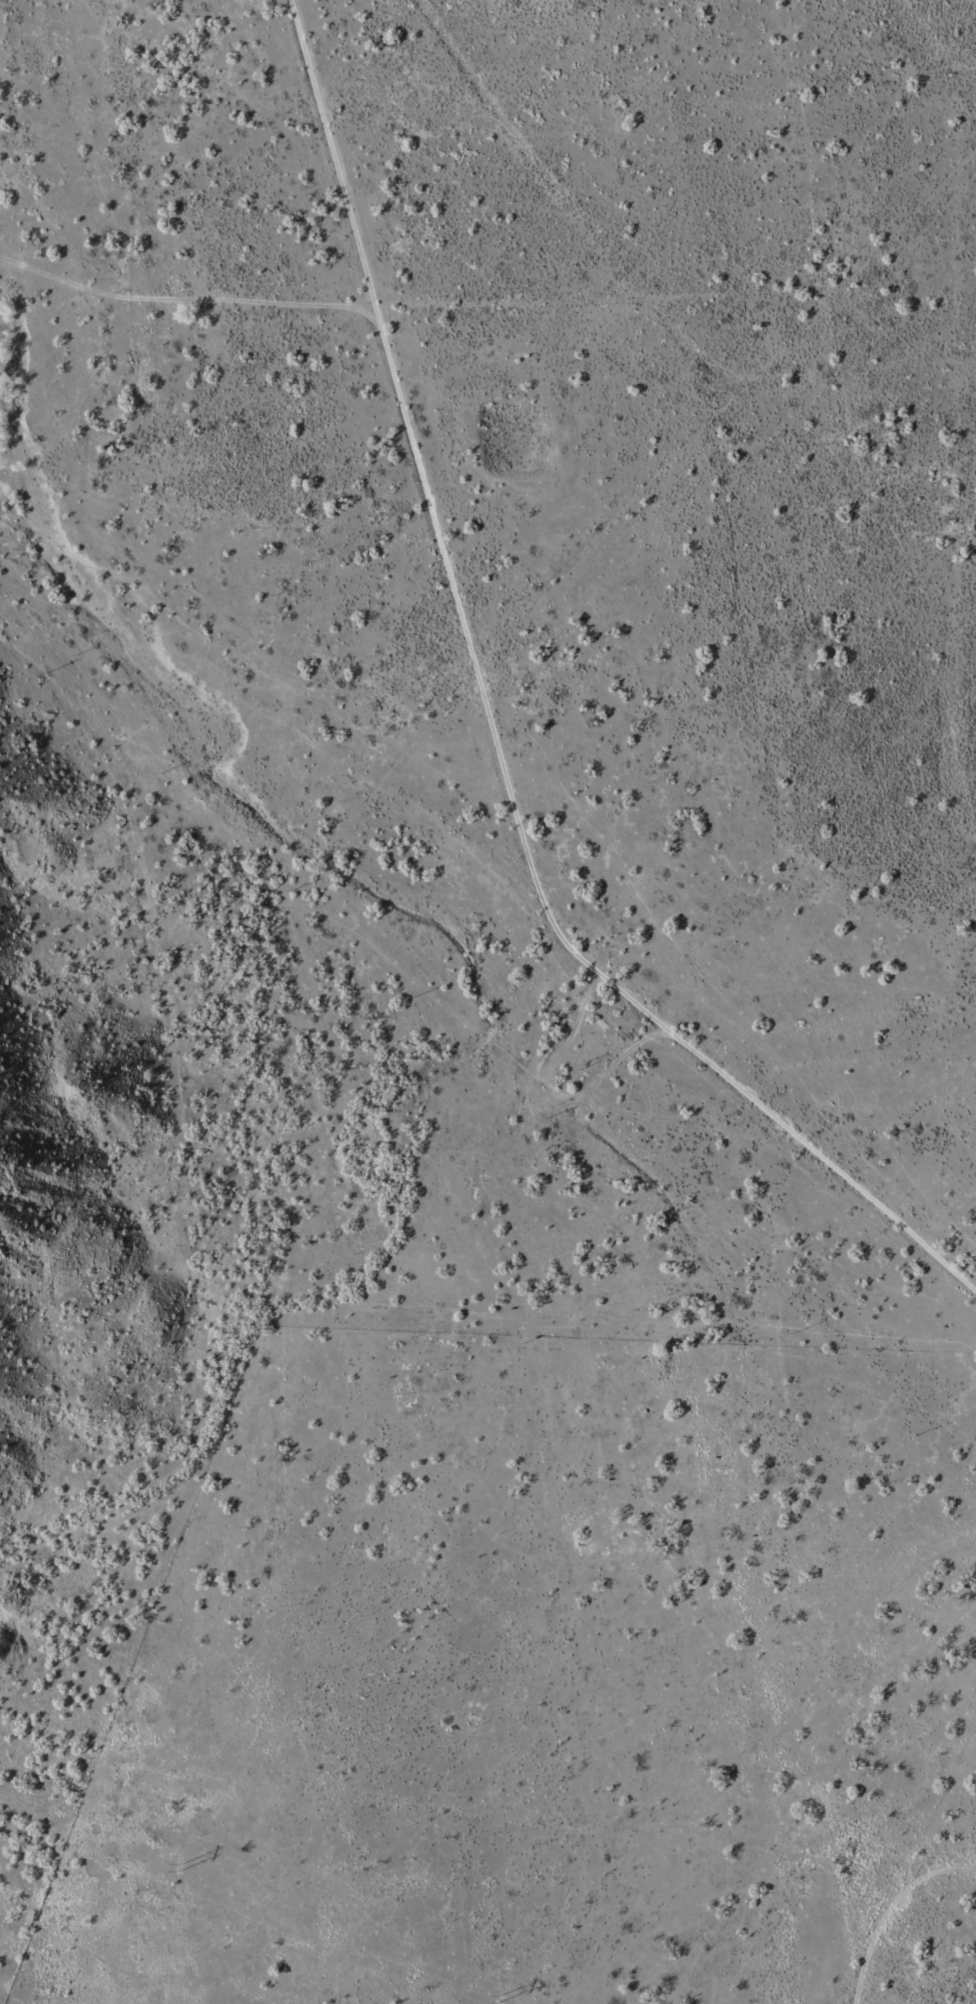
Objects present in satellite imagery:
power tower: (177, 1867)
power tower: (498, 1997)

